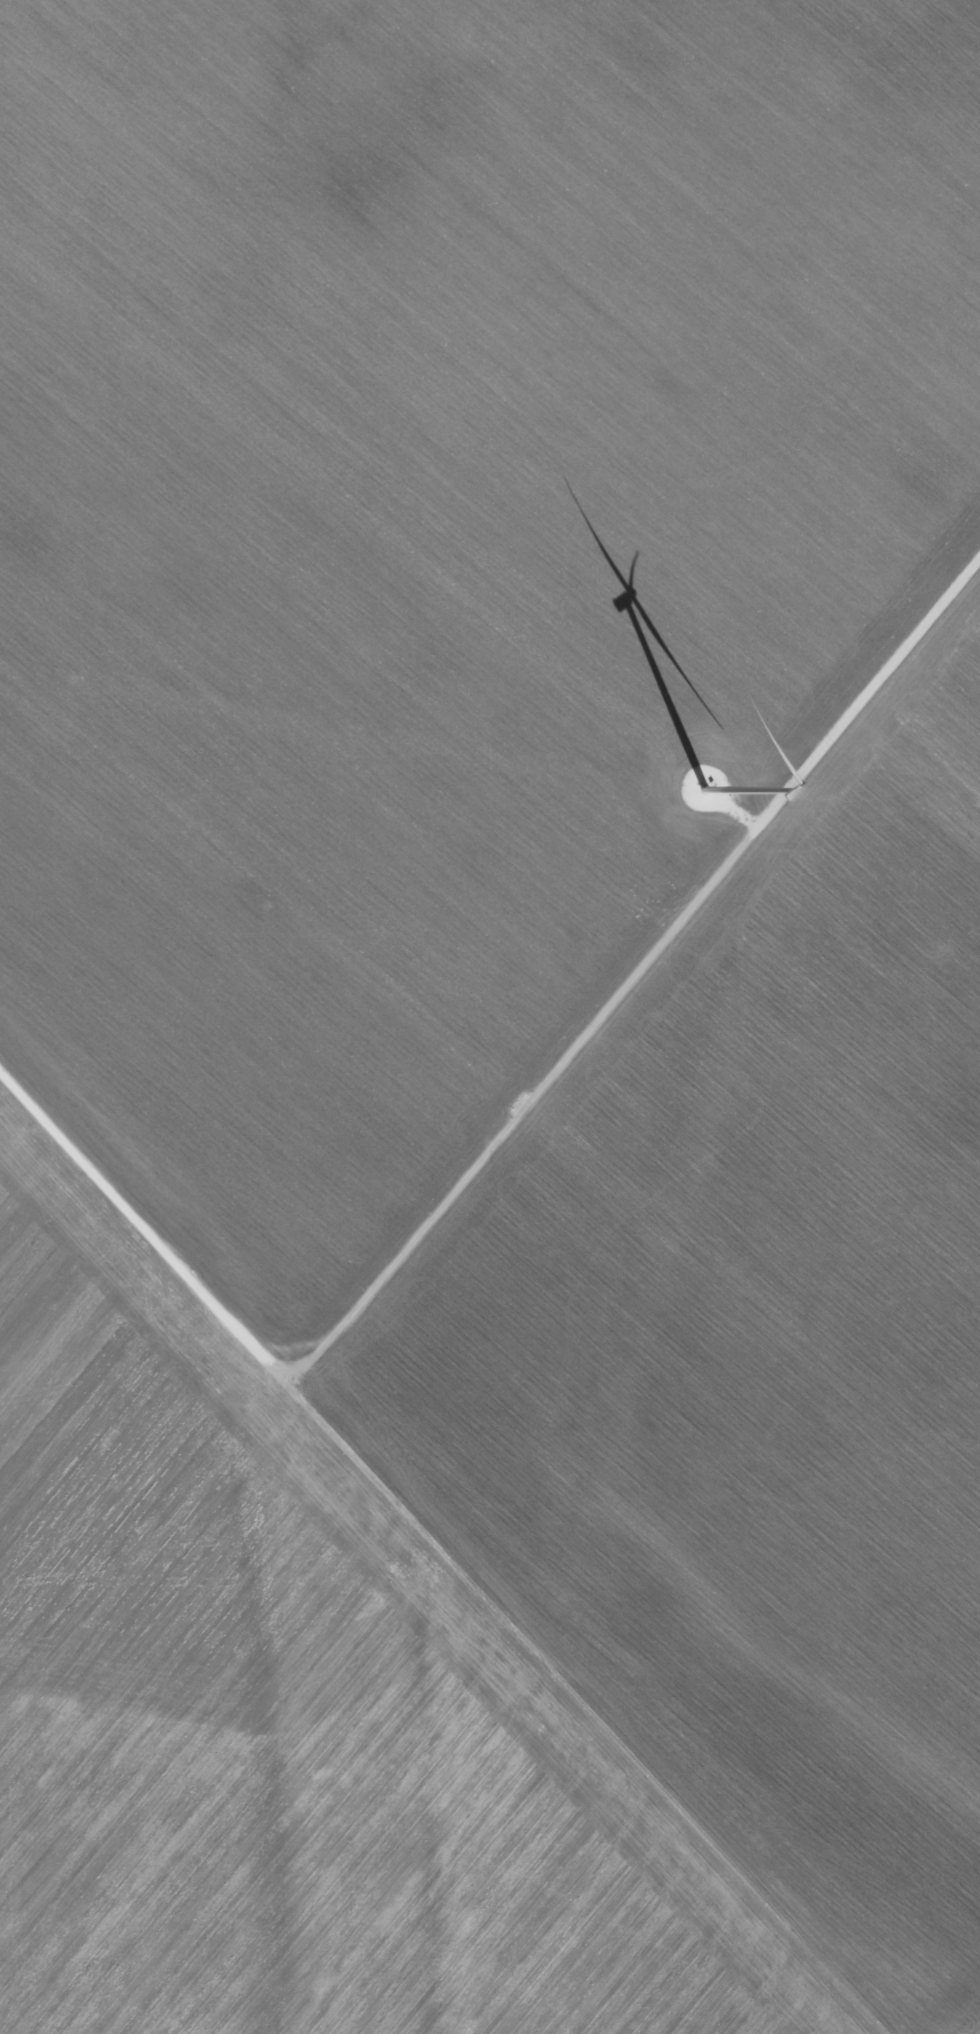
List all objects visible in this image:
wind turbine: (699, 778)

